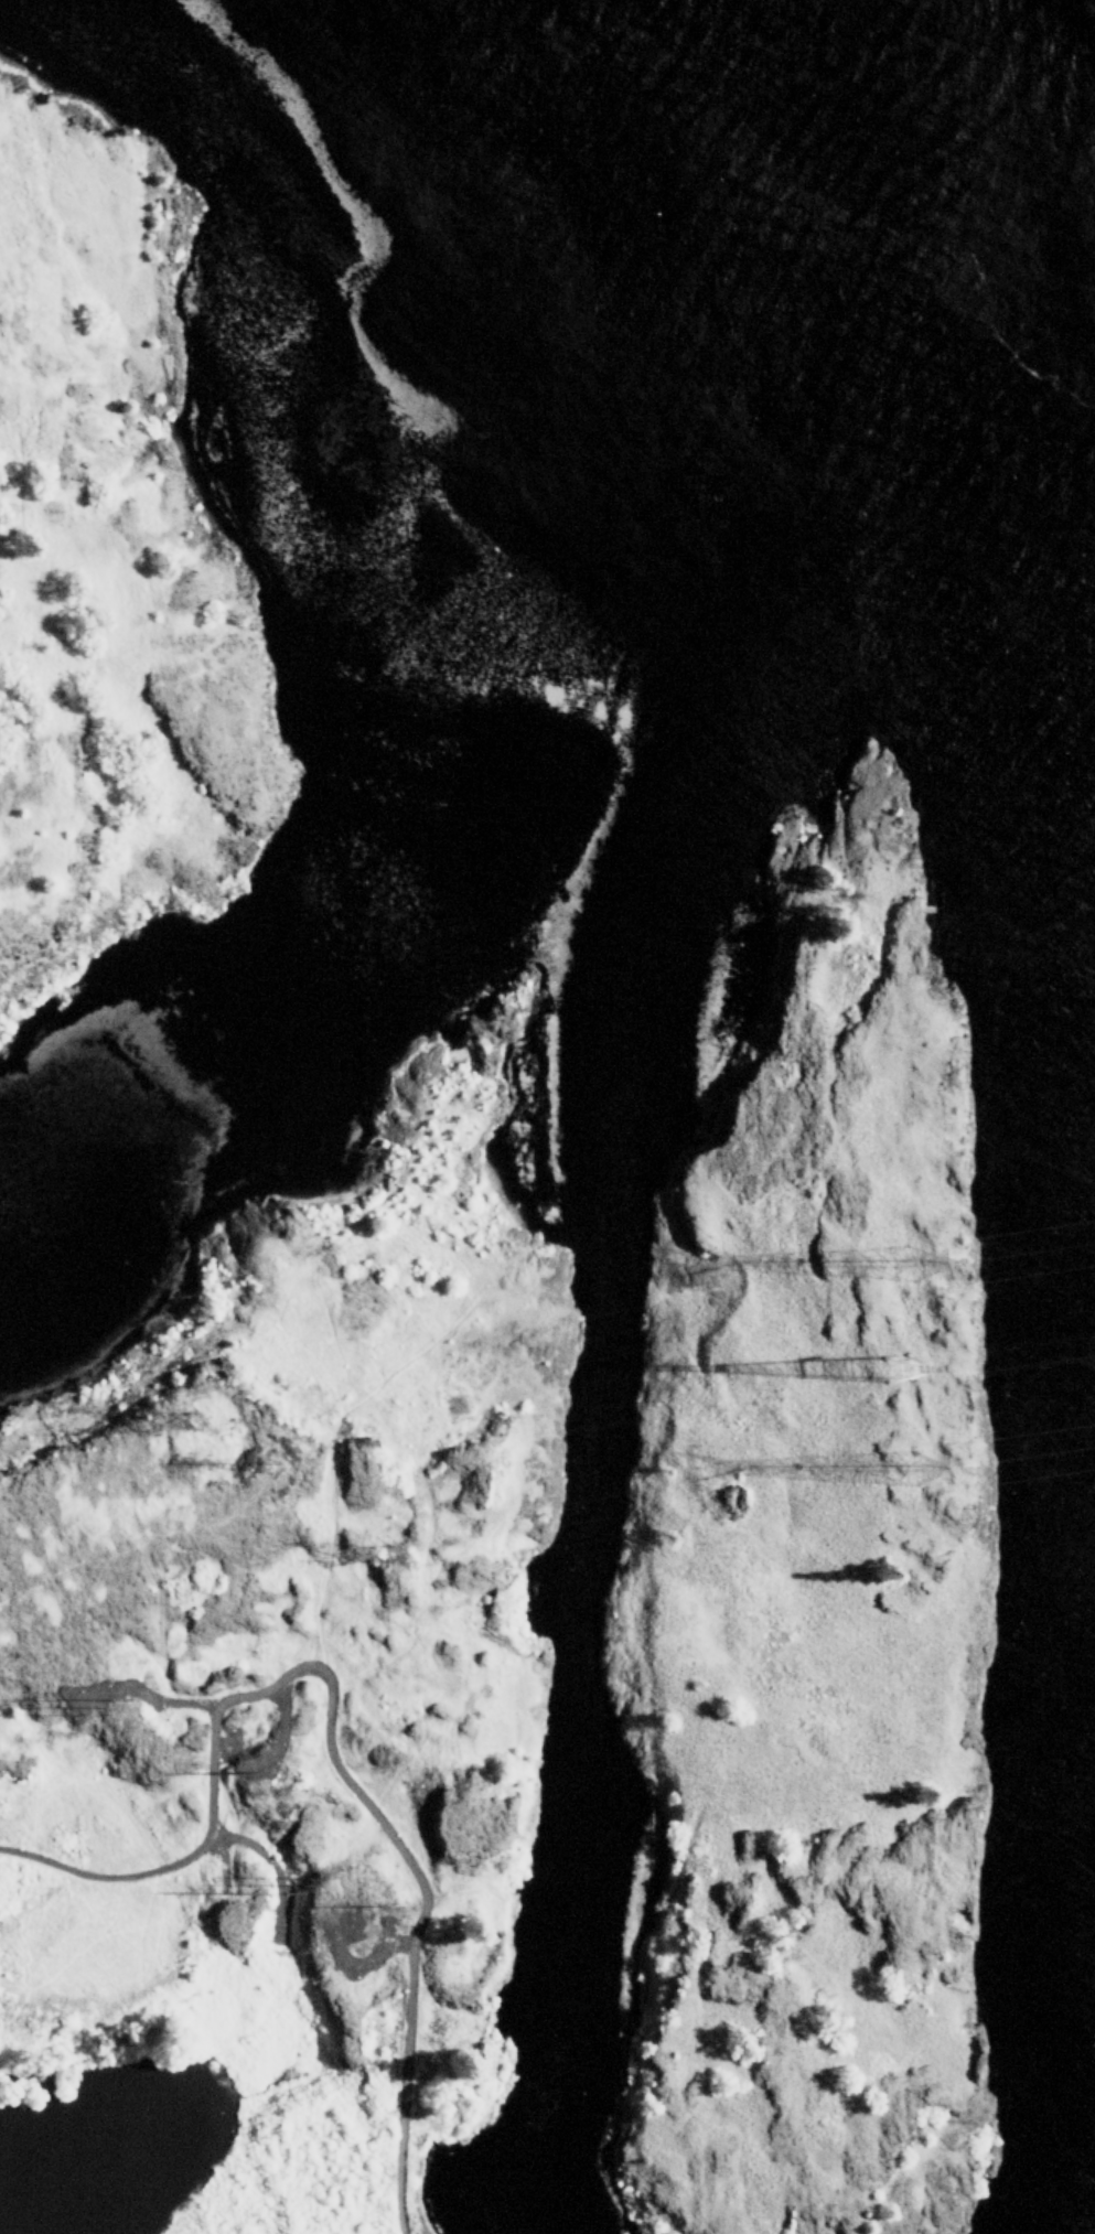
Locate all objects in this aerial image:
lighthouse: (952, 1074)
power tower: (921, 1266)
power tower: (906, 1371)
power tower: (202, 1431)
power tower: (920, 1467)
power tower: (277, 1469)
power tower: (407, 1564)
power tower: (83, 1704)
road: (328, 1730)
power tower: (245, 1769)
power tower: (302, 1883)
power tower: (250, 1892)
power tower: (389, 1903)

